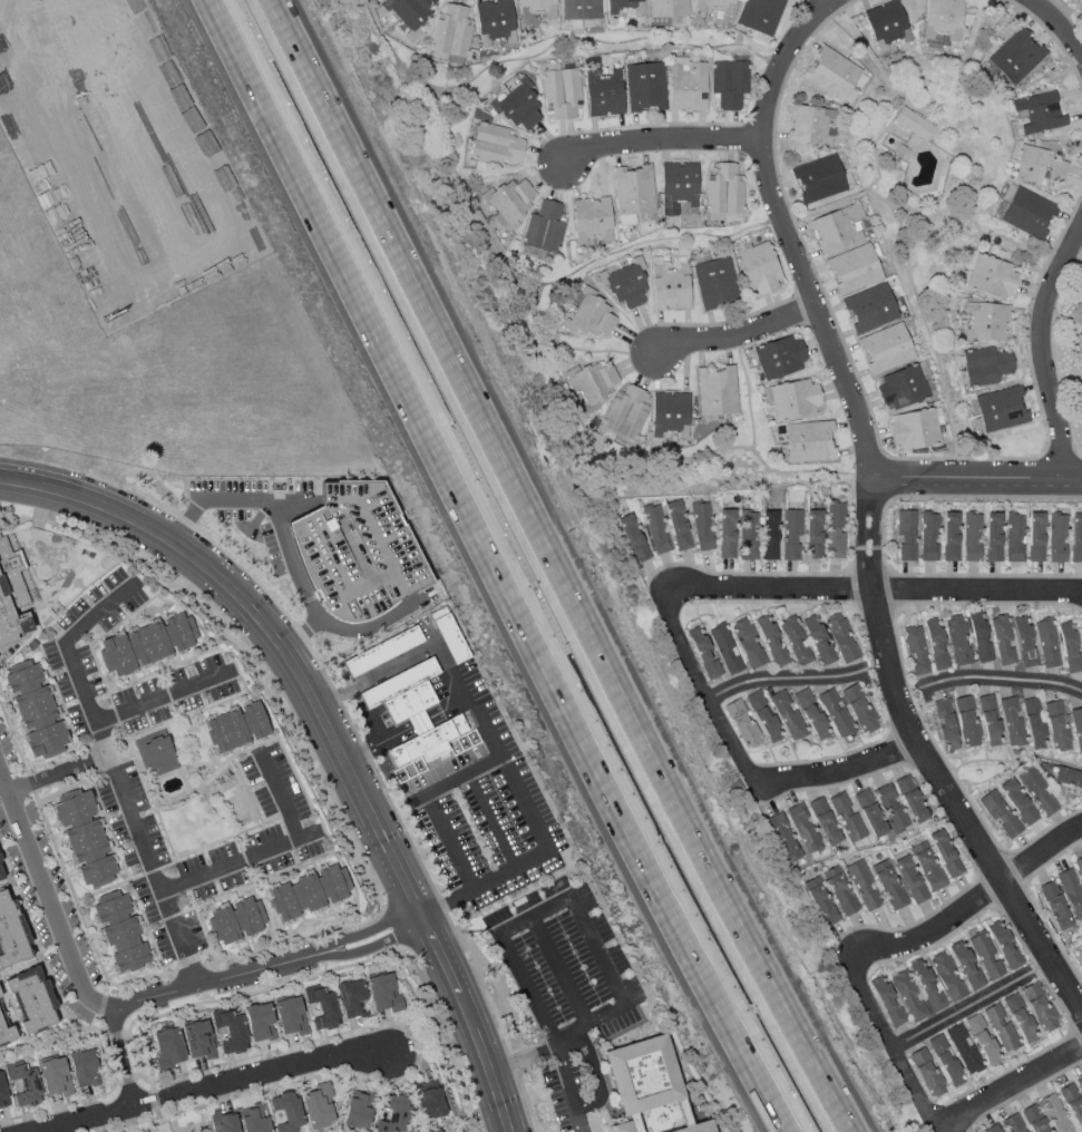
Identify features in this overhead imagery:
road: (828, 1)
road: (847, 2)
building: (715, 4)
building: (536, 7)
building: (624, 7)
building: (669, 8)
building: (579, 9)
building: (760, 16)
building: (495, 18)
building: (943, 19)
building: (886, 25)
road: (1057, 25)
building: (451, 32)
road: (1051, 37)
road: (543, 51)
building: (1016, 57)
road: (869, 59)
road: (779, 65)
road: (961, 71)
building: (831, 74)
building: (729, 84)
building: (686, 85)
building: (644, 87)
building: (561, 92)
building: (604, 94)
building: (519, 107)
road: (917, 114)
building: (1037, 114)
building: (808, 124)
building: (913, 124)
road: (650, 126)
road: (757, 127)
road: (661, 139)
building: (495, 145)
road: (874, 147)
road: (938, 149)
building: (1037, 166)
road: (497, 175)
building: (819, 178)
building: (679, 184)
building: (724, 189)
building: (633, 191)
building: (511, 199)
building: (1027, 213)
road: (918, 215)
building: (591, 217)
road: (780, 219)
building: (544, 227)
building: (837, 228)
road: (786, 234)
road: (627, 248)
building: (758, 269)
building: (854, 269)
building: (992, 277)
building: (714, 283)
building: (670, 291)
road: (803, 294)
building: (870, 309)
road: (534, 312)
building: (592, 316)
building: (988, 322)
road: (724, 324)
road: (926, 324)
road: (735, 335)
road: (1040, 347)
building: (886, 348)
road: (579, 350)
building: (780, 358)
building: (985, 365)
building: (595, 382)
building: (903, 388)
building: (718, 391)
road: (749, 398)
building: (796, 399)
road: (558, 400)
building: (1000, 409)
building: (625, 412)
building: (670, 414)
road: (874, 422)
building: (914, 429)
building: (809, 441)
road: (1076, 452)
road: (1056, 460)
road: (975, 478)
road: (890, 479)
road: (133, 494)
road: (871, 499)
road: (235, 500)
road: (875, 513)
road: (860, 514)
road: (185, 521)
building: (678, 526)
building: (701, 526)
road: (37, 529)
building: (656, 529)
building: (835, 530)
building: (727, 534)
building: (813, 534)
building: (790, 535)
building: (748, 536)
building: (769, 536)
road: (884, 536)
building: (905, 536)
building: (1014, 536)
building: (927, 537)
building: (949, 537)
building: (971, 537)
building: (992, 537)
building: (1035, 537)
building: (1075, 537)
building: (633, 538)
building: (1056, 538)
road: (68, 547)
building: (358, 552)
parking garage: (358, 552)
building: (8, 554)
road: (294, 562)
road: (497, 568)
road: (556, 568)
road: (873, 568)
building: (277, 569)
road: (865, 569)
road: (789, 574)
road: (247, 575)
road: (781, 588)
road: (683, 589)
road: (976, 589)
road: (887, 593)
road: (421, 599)
road: (811, 603)
road: (953, 604)
road: (192, 617)
building: (10, 619)
road: (344, 630)
road: (300, 636)
building: (450, 636)
building: (1081, 636)
building: (840, 637)
building: (979, 638)
road: (95, 640)
building: (818, 640)
building: (957, 640)
building: (795, 641)
building: (1002, 641)
building: (771, 642)
building: (1024, 642)
building: (748, 643)
building: (1046, 643)
building: (935, 644)
building: (147, 645)
building: (723, 645)
building: (1069, 647)
building: (915, 651)
building: (382, 652)
building: (703, 654)
road: (320, 666)
road: (237, 667)
road: (871, 667)
road: (162, 669)
road: (377, 675)
road: (987, 679)
road: (796, 681)
building: (403, 692)
road: (703, 692)
road: (912, 694)
road: (59, 696)
road: (162, 696)
road: (337, 697)
building: (858, 709)
building: (35, 710)
road: (449, 710)
road: (265, 713)
building: (835, 713)
building: (811, 714)
road: (116, 716)
road: (188, 716)
building: (763, 716)
building: (788, 716)
building: (988, 721)
building: (420, 722)
building: (966, 722)
road: (350, 723)
building: (1011, 723)
road: (420, 724)
building: (742, 724)
building: (1033, 724)
building: (945, 725)
building: (1056, 726)
building: (236, 728)
building: (1076, 730)
road: (287, 734)
road: (330, 734)
road: (14, 739)
road: (118, 739)
road: (208, 741)
road: (100, 743)
road: (377, 744)
road: (898, 744)
road: (254, 748)
road: (858, 749)
building: (431, 750)
road: (364, 752)
building: (156, 755)
road: (95, 758)
road: (59, 761)
road: (1016, 761)
road: (837, 772)
road: (58, 773)
road: (116, 773)
road: (96, 775)
building: (1068, 778)
road: (30, 783)
road: (148, 790)
road: (197, 791)
building: (1037, 791)
road: (246, 792)
road: (306, 796)
road: (521, 798)
building: (910, 799)
road: (429, 802)
building: (1017, 802)
building: (891, 808)
road: (955, 808)
park: (240, 810)
road: (215, 813)
building: (870, 813)
building: (1000, 814)
road: (979, 818)
road: (493, 819)
building: (847, 819)
building: (825, 821)
road: (946, 821)
road: (257, 826)
building: (802, 827)
road: (403, 830)
building: (783, 838)
building: (85, 840)
road: (204, 846)
road: (274, 848)
road: (118, 851)
building: (945, 853)
road: (245, 860)
building: (1079, 866)
building: (927, 867)
road: (175, 870)
road: (150, 871)
road: (975, 872)
building: (0, 877)
road: (137, 878)
road: (251, 878)
building: (909, 878)
road: (264, 881)
road: (183, 884)
building: (888, 885)
building: (864, 886)
road: (354, 887)
road: (103, 890)
building: (840, 890)
building: (309, 892)
road: (567, 898)
building: (1062, 899)
building: (820, 901)
road: (1033, 905)
road: (967, 906)
road: (441, 907)
road: (188, 910)
road: (382, 910)
road: (267, 914)
road: (170, 917)
road: (82, 919)
building: (235, 920)
road: (154, 924)
road: (964, 925)
road: (202, 926)
road: (393, 928)
road: (374, 929)
building: (120, 931)
building: (11, 933)
road: (379, 945)
building: (1004, 945)
road: (400, 949)
building: (985, 956)
building: (1081, 959)
building: (966, 965)
road: (561, 968)
road: (1036, 969)
road: (146, 972)
road: (191, 972)
road: (129, 977)
building: (947, 977)
road: (478, 984)
building: (927, 985)
road: (107, 987)
building: (383, 993)
building: (350, 997)
building: (908, 997)
road: (91, 998)
building: (31, 999)
building: (887, 1001)
road: (101, 1004)
road: (973, 1005)
building: (1039, 1007)
building: (322, 1008)
road: (11, 1012)
building: (290, 1015)
building: (1021, 1021)
road: (96, 1022)
building: (260, 1023)
road: (80, 1026)
building: (1001, 1027)
building: (231, 1032)
road: (1072, 1033)
building: (6, 1034)
road: (90, 1034)
road: (47, 1037)
building: (198, 1040)
building: (983, 1041)
road: (894, 1047)
building: (167, 1048)
building: (964, 1050)
road: (121, 1055)
road: (1033, 1056)
road: (521, 1058)
building: (945, 1061)
road: (509, 1063)
building: (84, 1068)
road: (197, 1071)
building: (926, 1073)
building: (644, 1075)
building: (55, 1076)
road: (595, 1077)
building: (1080, 1081)
building: (23, 1084)
road: (1006, 1086)
road: (211, 1087)
road: (569, 1089)
building: (2, 1093)
road: (1023, 1094)
road: (153, 1100)
road: (521, 1102)
building: (430, 1103)
building: (316, 1106)
building: (1064, 1109)
building: (358, 1110)
building: (286, 1111)
building: (392, 1113)
building: (1034, 1119)
road: (203, 1120)
building: (253, 1120)
building: (223, 1122)
building: (1014, 1123)
road: (589, 1126)
building: (620, 1128)
building: (699, 1128)
road: (177, 1129)
building: (993, 1129)
building: (438, 1131)

